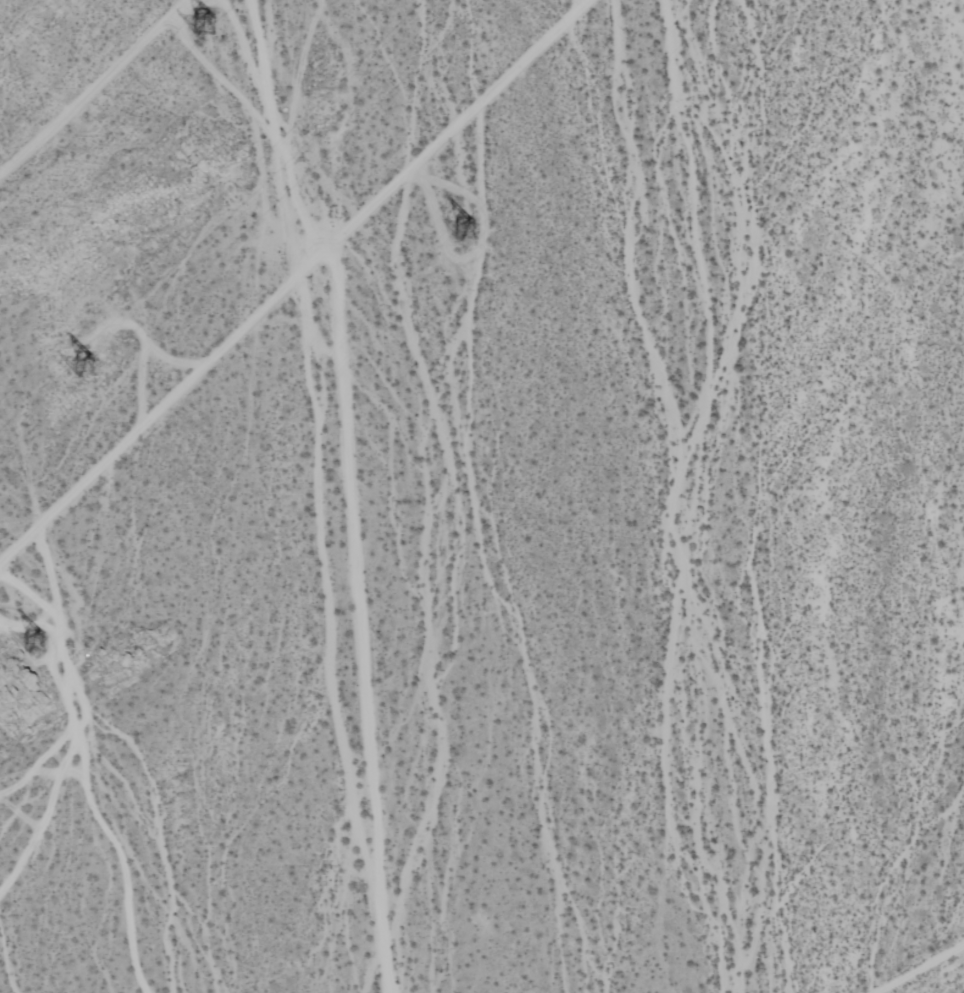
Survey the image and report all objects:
power tower: (210, 23)
power tower: (470, 234)
road: (294, 280)
power tower: (122, 349)
power tower: (32, 643)
road: (920, 968)

